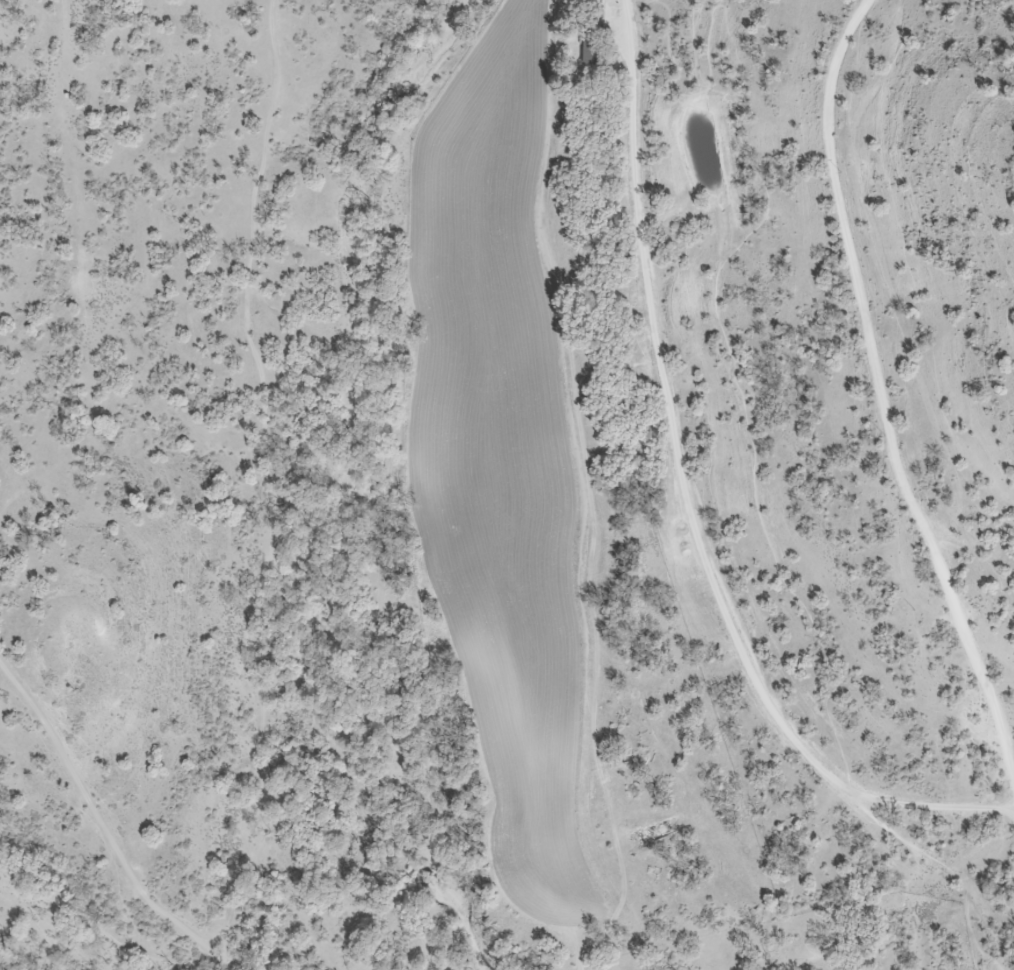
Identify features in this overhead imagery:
road: (416, 88)
road: (1013, 177)
road: (734, 367)
road: (882, 396)
road: (271, 476)
road: (688, 499)
road: (100, 824)
road: (945, 866)
road: (36, 931)
road: (232, 965)

